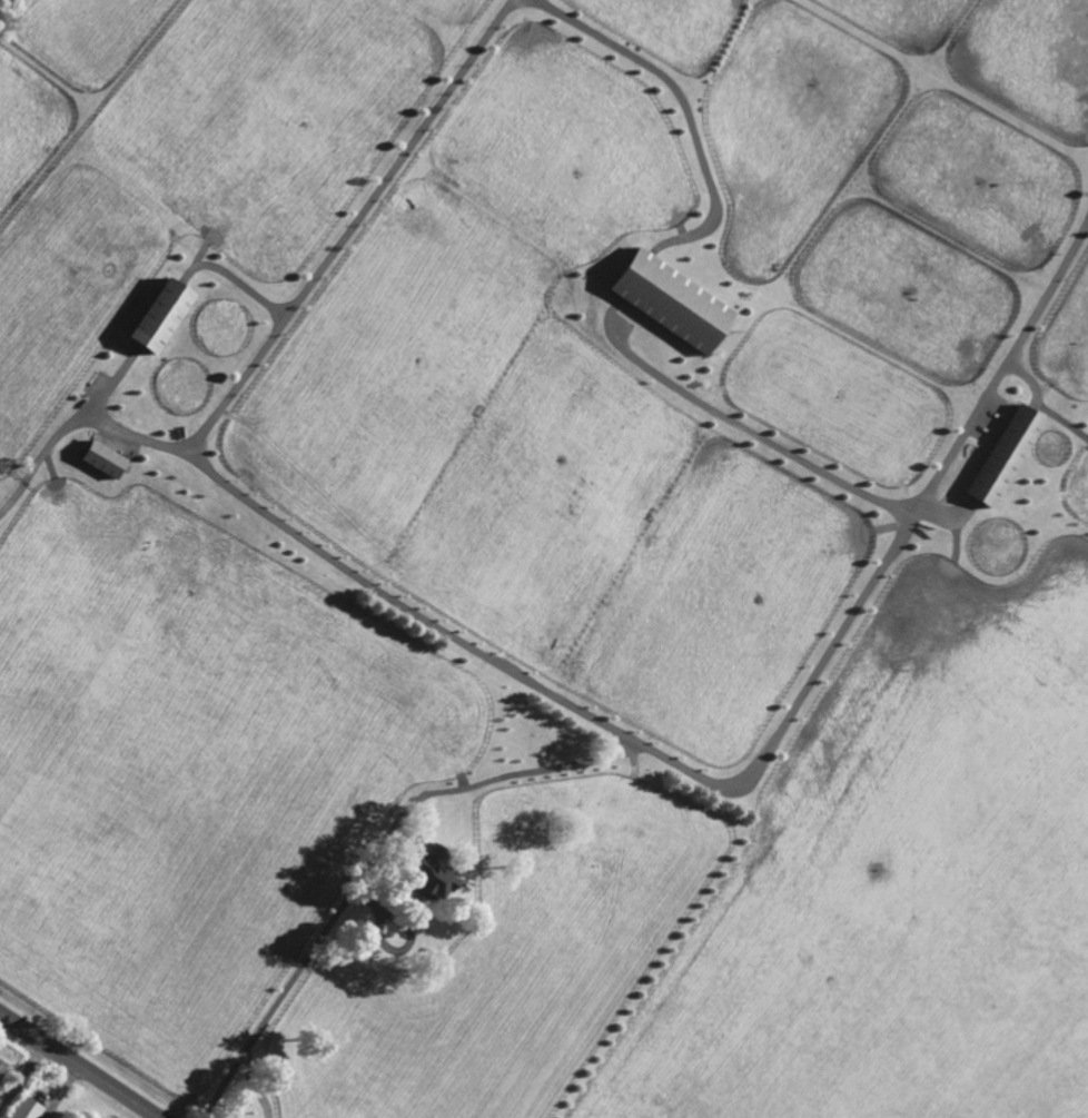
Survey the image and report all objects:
road: (674, 96)
road: (346, 227)
building: (669, 298)
building: (161, 311)
road: (760, 436)
building: (1000, 454)
building: (103, 457)
building: (310, 729)
road: (639, 744)
building: (261, 795)
building: (616, 800)
building: (373, 810)
building: (516, 829)
road: (368, 861)
building: (434, 868)
building: (2, 1065)
road: (77, 1065)
road: (254, 1085)
building: (24, 1108)

